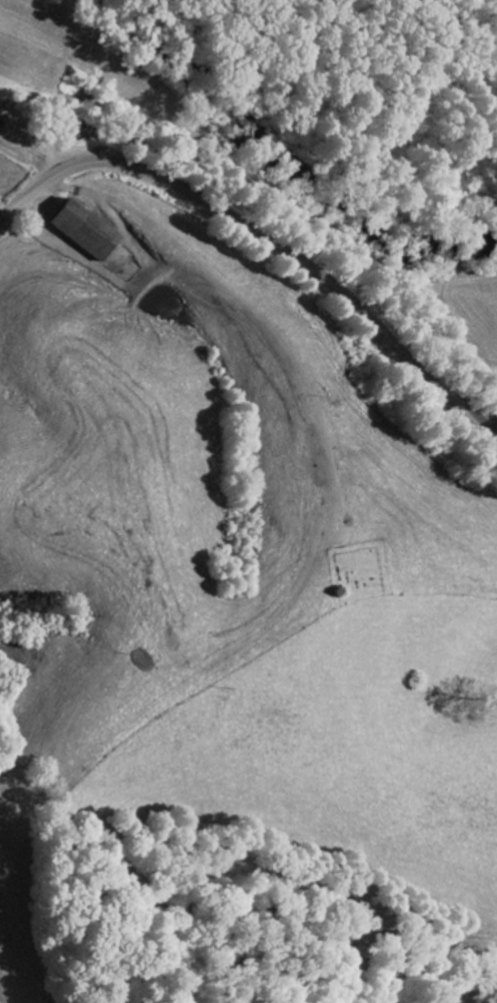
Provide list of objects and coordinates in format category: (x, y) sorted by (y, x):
river: (288, 167)
building: (83, 230)
road: (265, 239)

